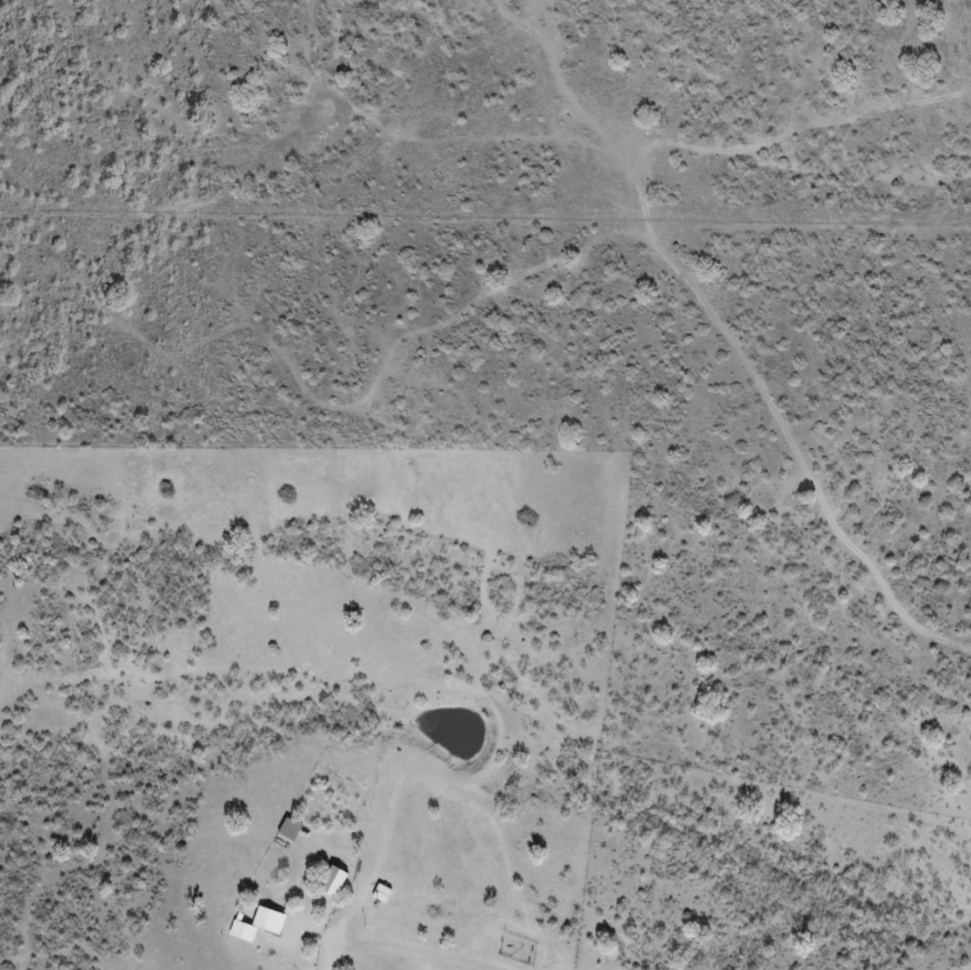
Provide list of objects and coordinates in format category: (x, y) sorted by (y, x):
building: (289, 829)
building: (259, 924)

